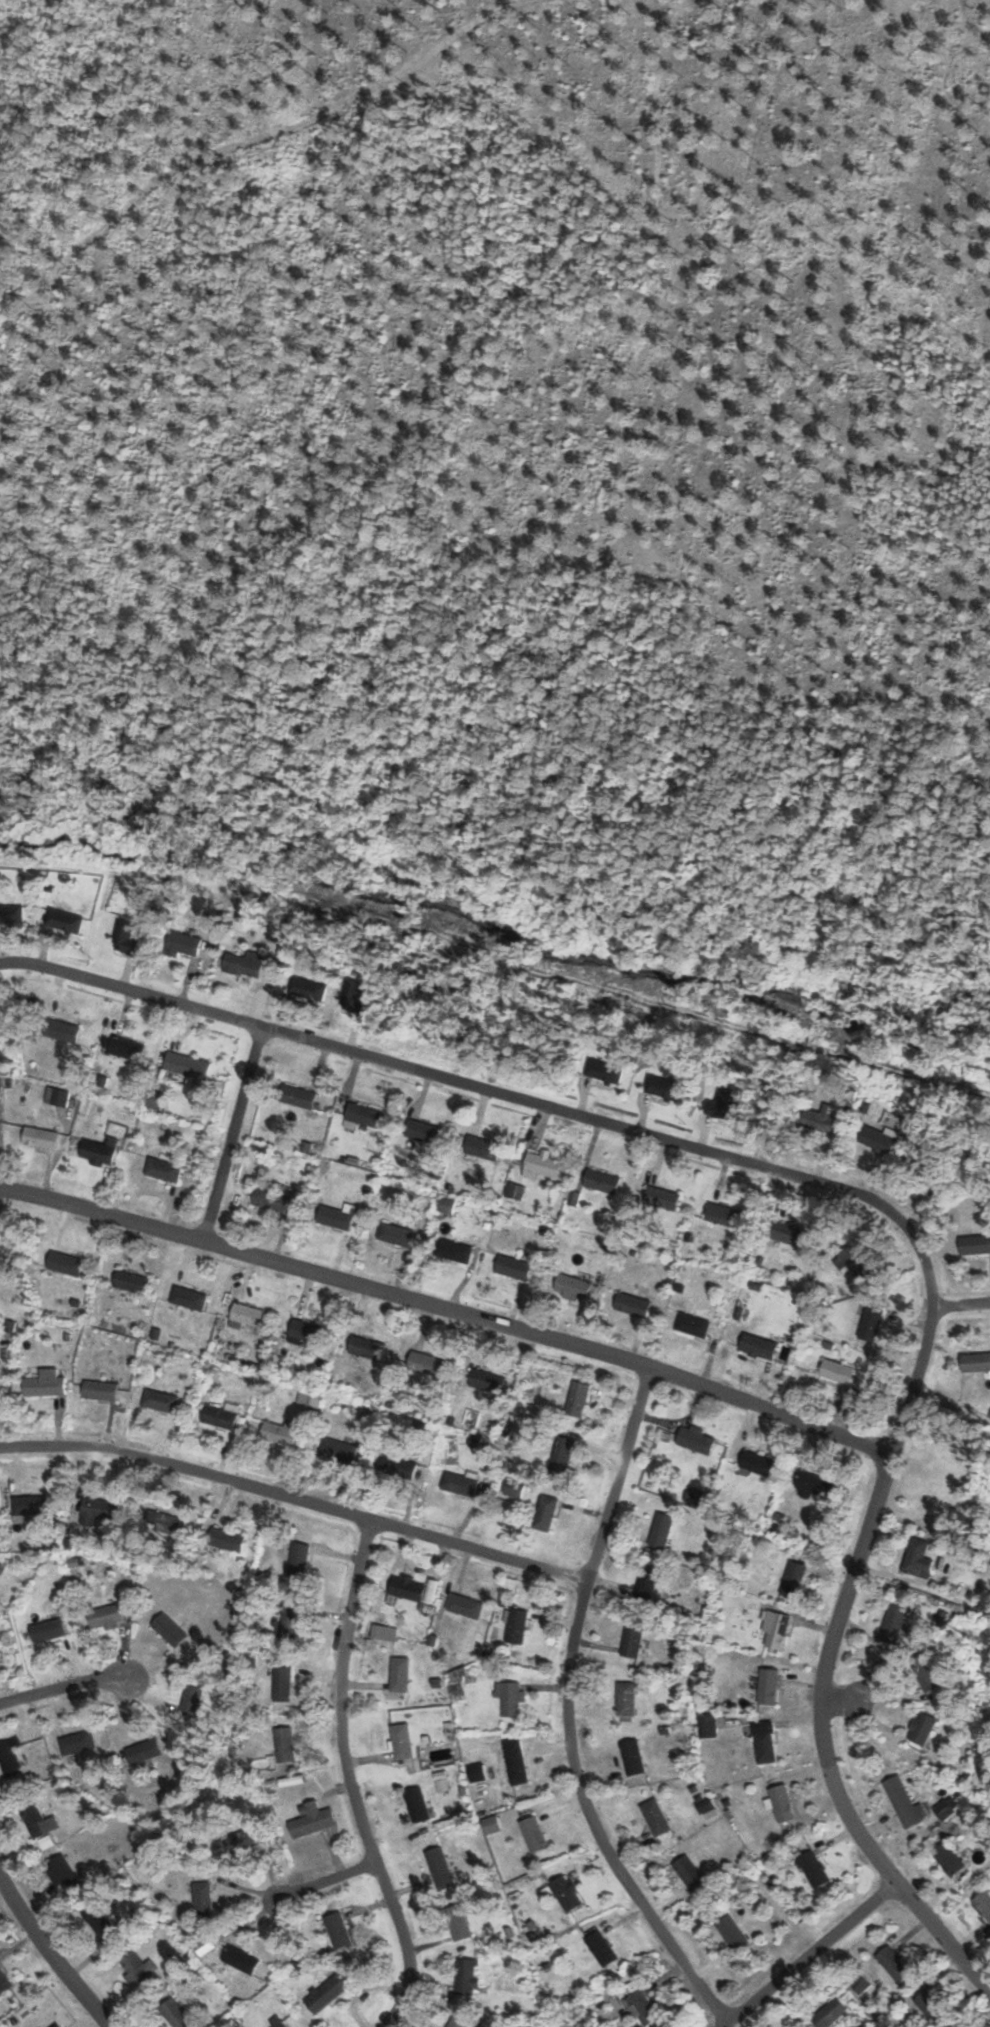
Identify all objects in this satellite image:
building: (9, 916)
building: (63, 919)
building: (128, 937)
building: (184, 945)
building: (244, 963)
building: (307, 988)
building: (355, 996)
building: (61, 1030)
building: (126, 1047)
building: (187, 1064)
building: (603, 1069)
building: (663, 1086)
building: (298, 1096)
building: (721, 1102)
building: (364, 1114)
building: (820, 1118)
building: (423, 1131)
road: (230, 1133)
building: (39, 1137)
building: (879, 1137)
building: (482, 1148)
building: (98, 1150)
building: (542, 1164)
building: (163, 1170)
building: (601, 1180)
building: (661, 1196)
road: (863, 1197)
building: (270, 1198)
building: (723, 1214)
building: (337, 1215)
building: (398, 1232)
building: (789, 1233)
building: (975, 1244)
building: (454, 1250)
building: (65, 1263)
building: (857, 1263)
building: (513, 1267)
building: (130, 1281)
building: (572, 1287)
building: (188, 1297)
building: (632, 1304)
road: (960, 1304)
road: (448, 1311)
building: (248, 1314)
building: (871, 1323)
building: (693, 1325)
building: (307, 1331)
building: (367, 1347)
building: (758, 1347)
building: (977, 1362)
building: (426, 1363)
building: (837, 1371)
building: (488, 1381)
building: (46, 1382)
building: (99, 1390)
building: (161, 1399)
building: (577, 1399)
building: (220, 1416)
building: (280, 1432)
building: (695, 1440)
building: (338, 1449)
building: (561, 1454)
building: (756, 1464)
building: (398, 1466)
building: (458, 1484)
building: (812, 1485)
road: (295, 1498)
building: (30, 1505)
building: (96, 1510)
building: (545, 1514)
building: (161, 1522)
building: (661, 1530)
building: (228, 1538)
building: (917, 1558)
building: (298, 1560)
building: (793, 1579)
building: (646, 1585)
building: (407, 1587)
building: (464, 1606)
building: (104, 1615)
building: (288, 1620)
building: (894, 1620)
building: (515, 1626)
building: (168, 1629)
building: (47, 1630)
building: (776, 1630)
building: (384, 1632)
building: (632, 1639)
building: (926, 1673)
building: (399, 1674)
building: (0, 1675)
building: (282, 1683)
building: (457, 1683)
road: (65, 1686)
building: (769, 1686)
building: (509, 1698)
building: (626, 1698)
building: (191, 1699)
road: (840, 1701)
road: (567, 1713)
building: (708, 1726)
building: (921, 1728)
building: (401, 1741)
building: (76, 1742)
building: (765, 1743)
building: (284, 1744)
building: (142, 1751)
building: (10, 1757)
building: (632, 1757)
building: (515, 1761)
road: (348, 1781)
building: (441, 1783)
building: (781, 1803)
building: (903, 1803)
building: (416, 1805)
building: (706, 1806)
building: (656, 1817)
building: (312, 1819)
building: (38, 1820)
building: (534, 1834)
building: (241, 1840)
building: (947, 1859)
building: (440, 1869)
building: (813, 1869)
building: (62, 1872)
building: (689, 1873)
road: (326, 1879)
building: (566, 1893)
building: (203, 1900)
building: (983, 1904)
building: (459, 1923)
building: (102, 1927)
building: (337, 1931)
building: (732, 1933)
building: (601, 1949)
road: (808, 1954)
road: (51, 1956)
building: (240, 1960)
building: (894, 1964)
building: (137, 1968)
building: (467, 1977)
building: (3, 1983)
building: (860, 1984)
building: (325, 1994)
building: (637, 2006)
building: (932, 2008)
building: (829, 2013)
building: (176, 2014)
building: (459, 2020)
building: (55, 2025)
building: (279, 2025)

